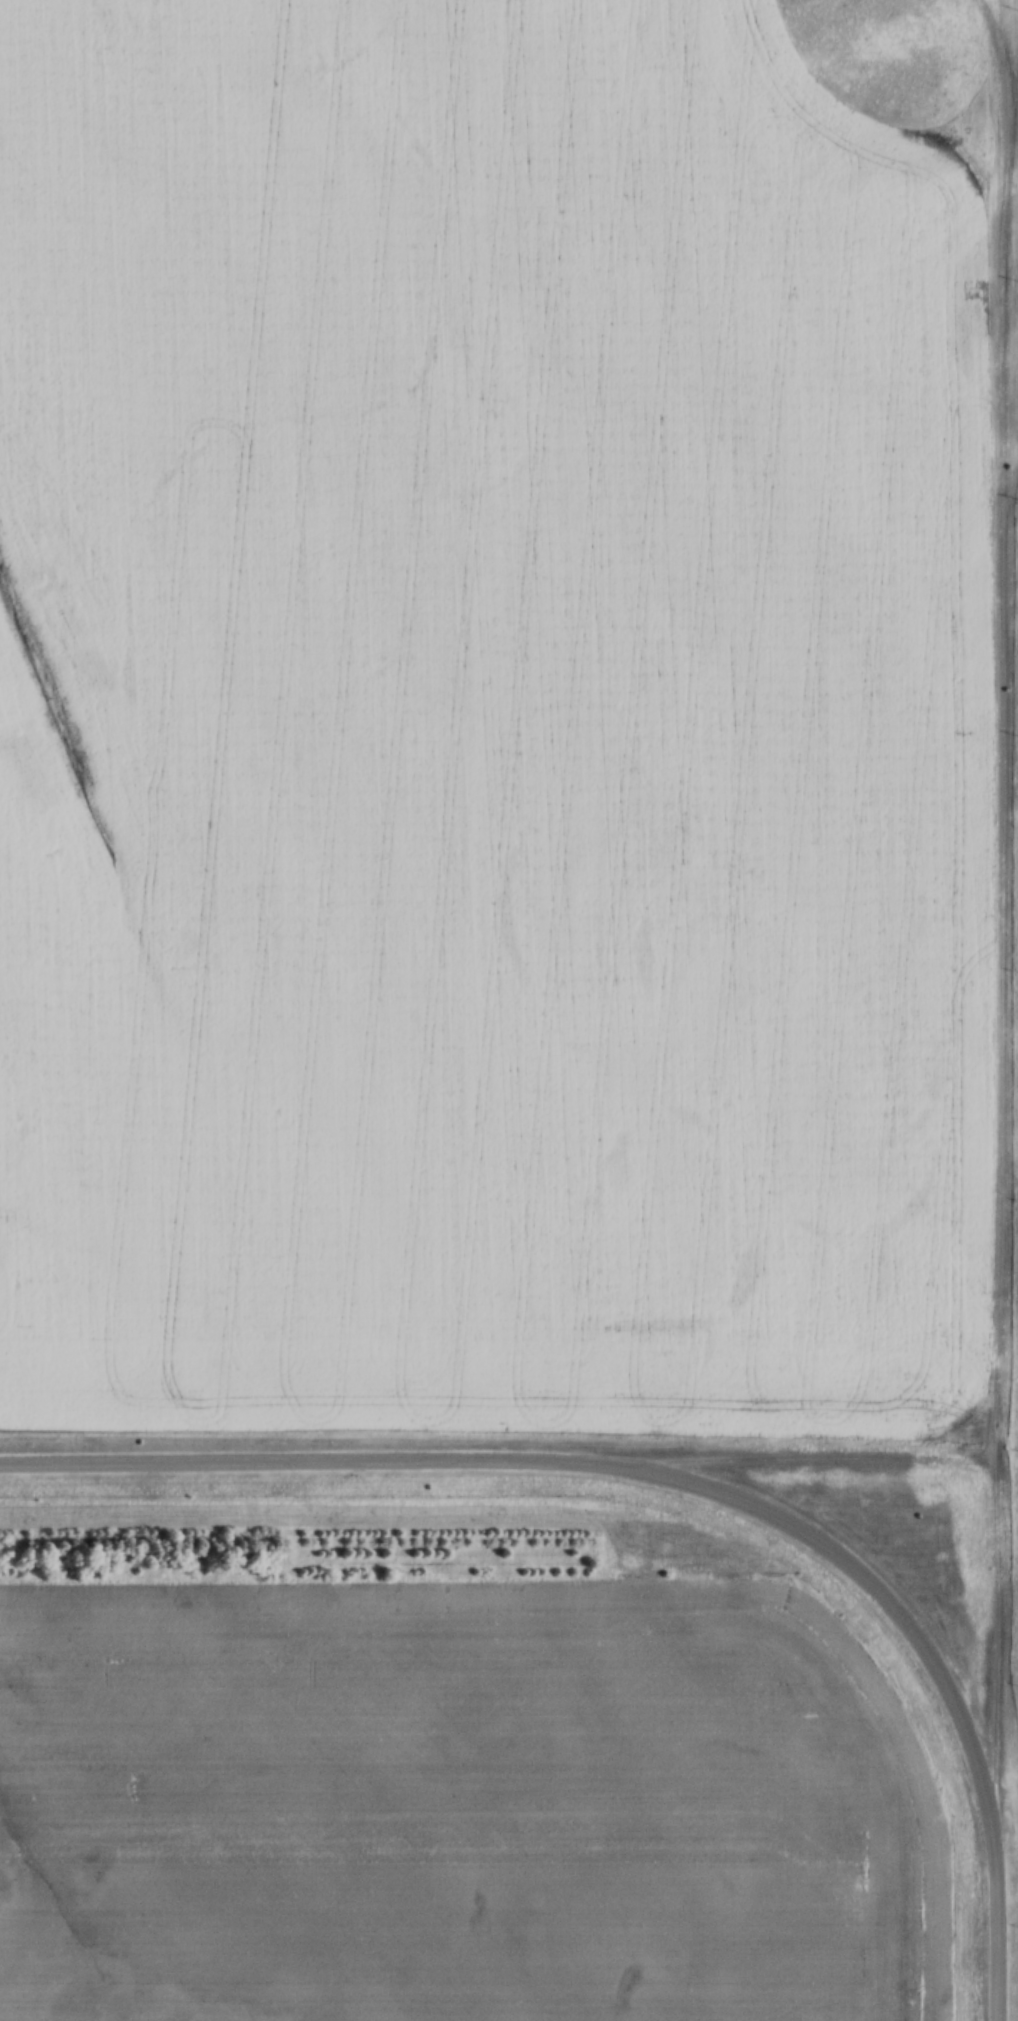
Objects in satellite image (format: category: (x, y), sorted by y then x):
road: (1000, 908)
road: (818, 1465)
road: (686, 1479)

